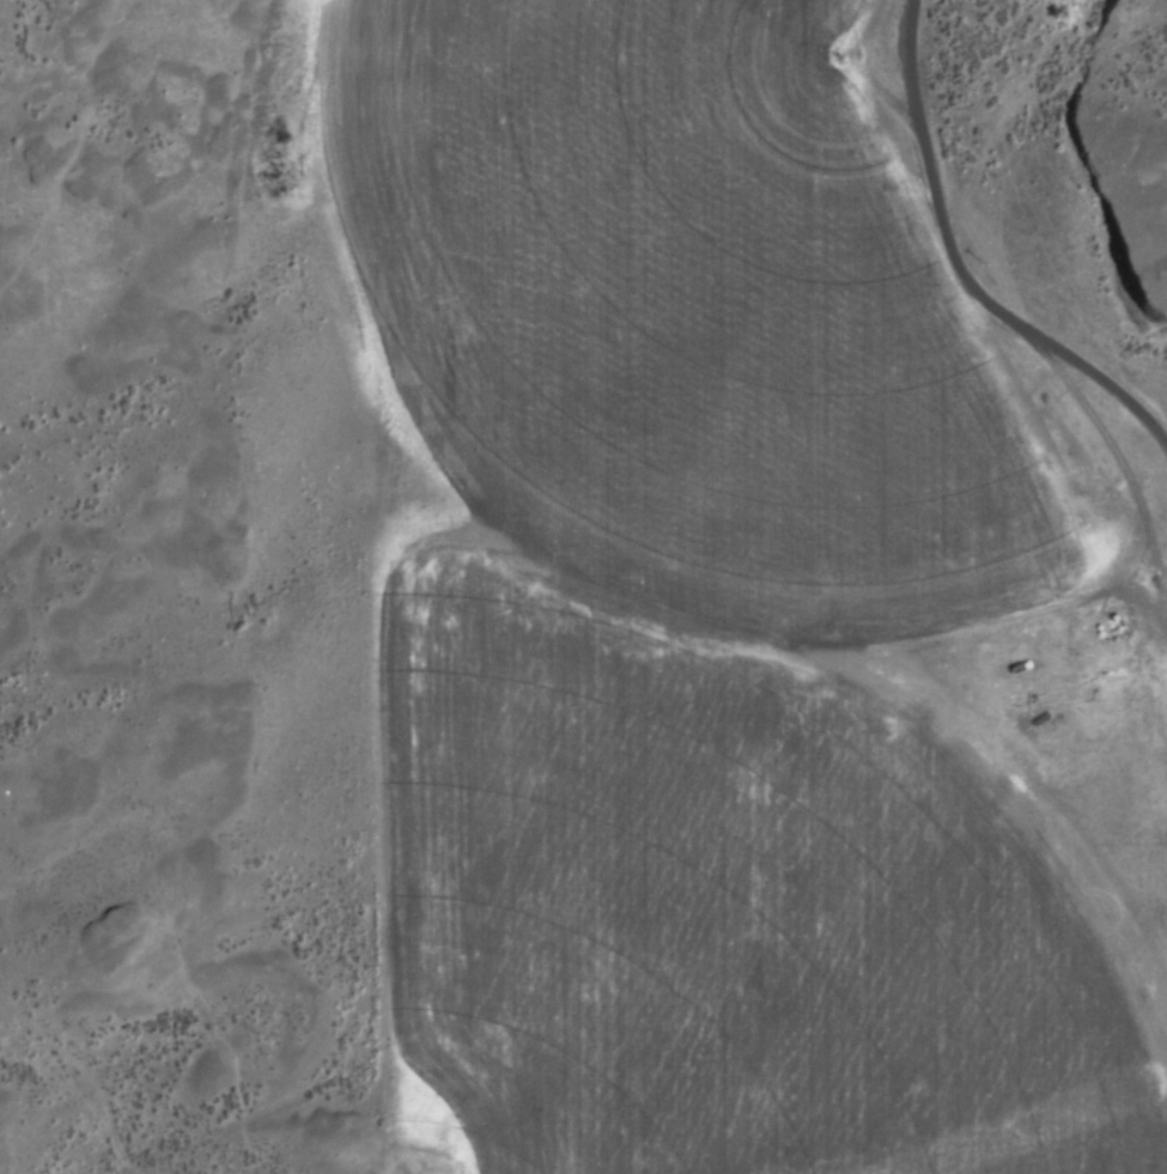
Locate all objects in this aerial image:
road: (954, 272)

